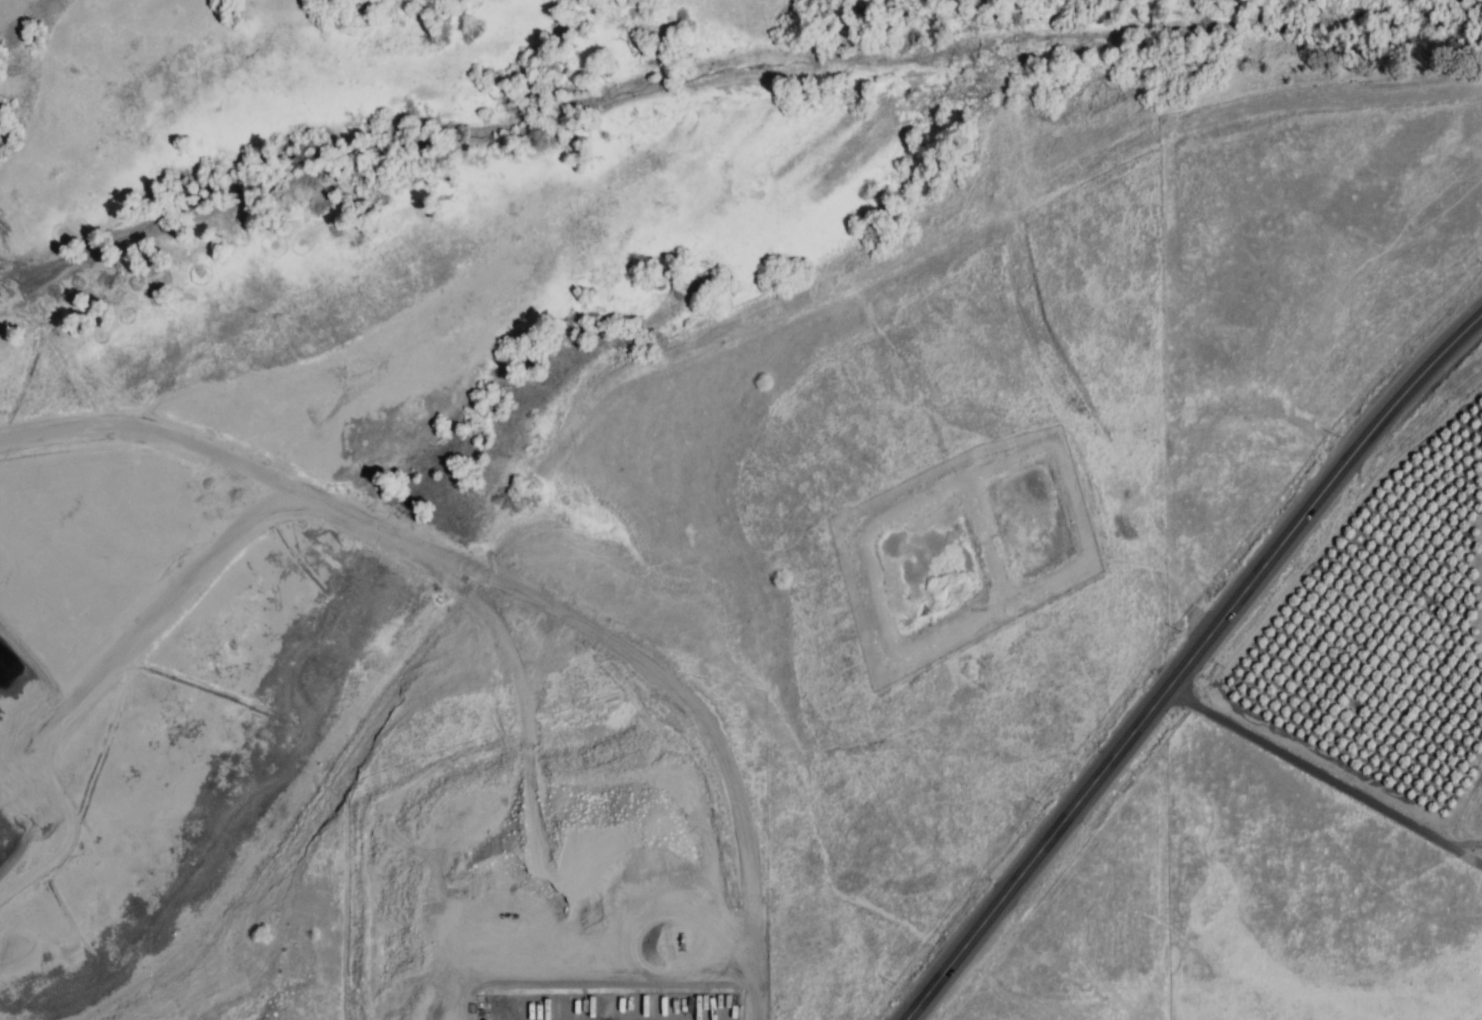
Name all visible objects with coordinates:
road: (1251, 122)
crop: (1091, 508)
crop: (1431, 610)
crop: (1331, 628)
road: (1193, 663)
road: (1313, 772)
road: (1468, 848)

